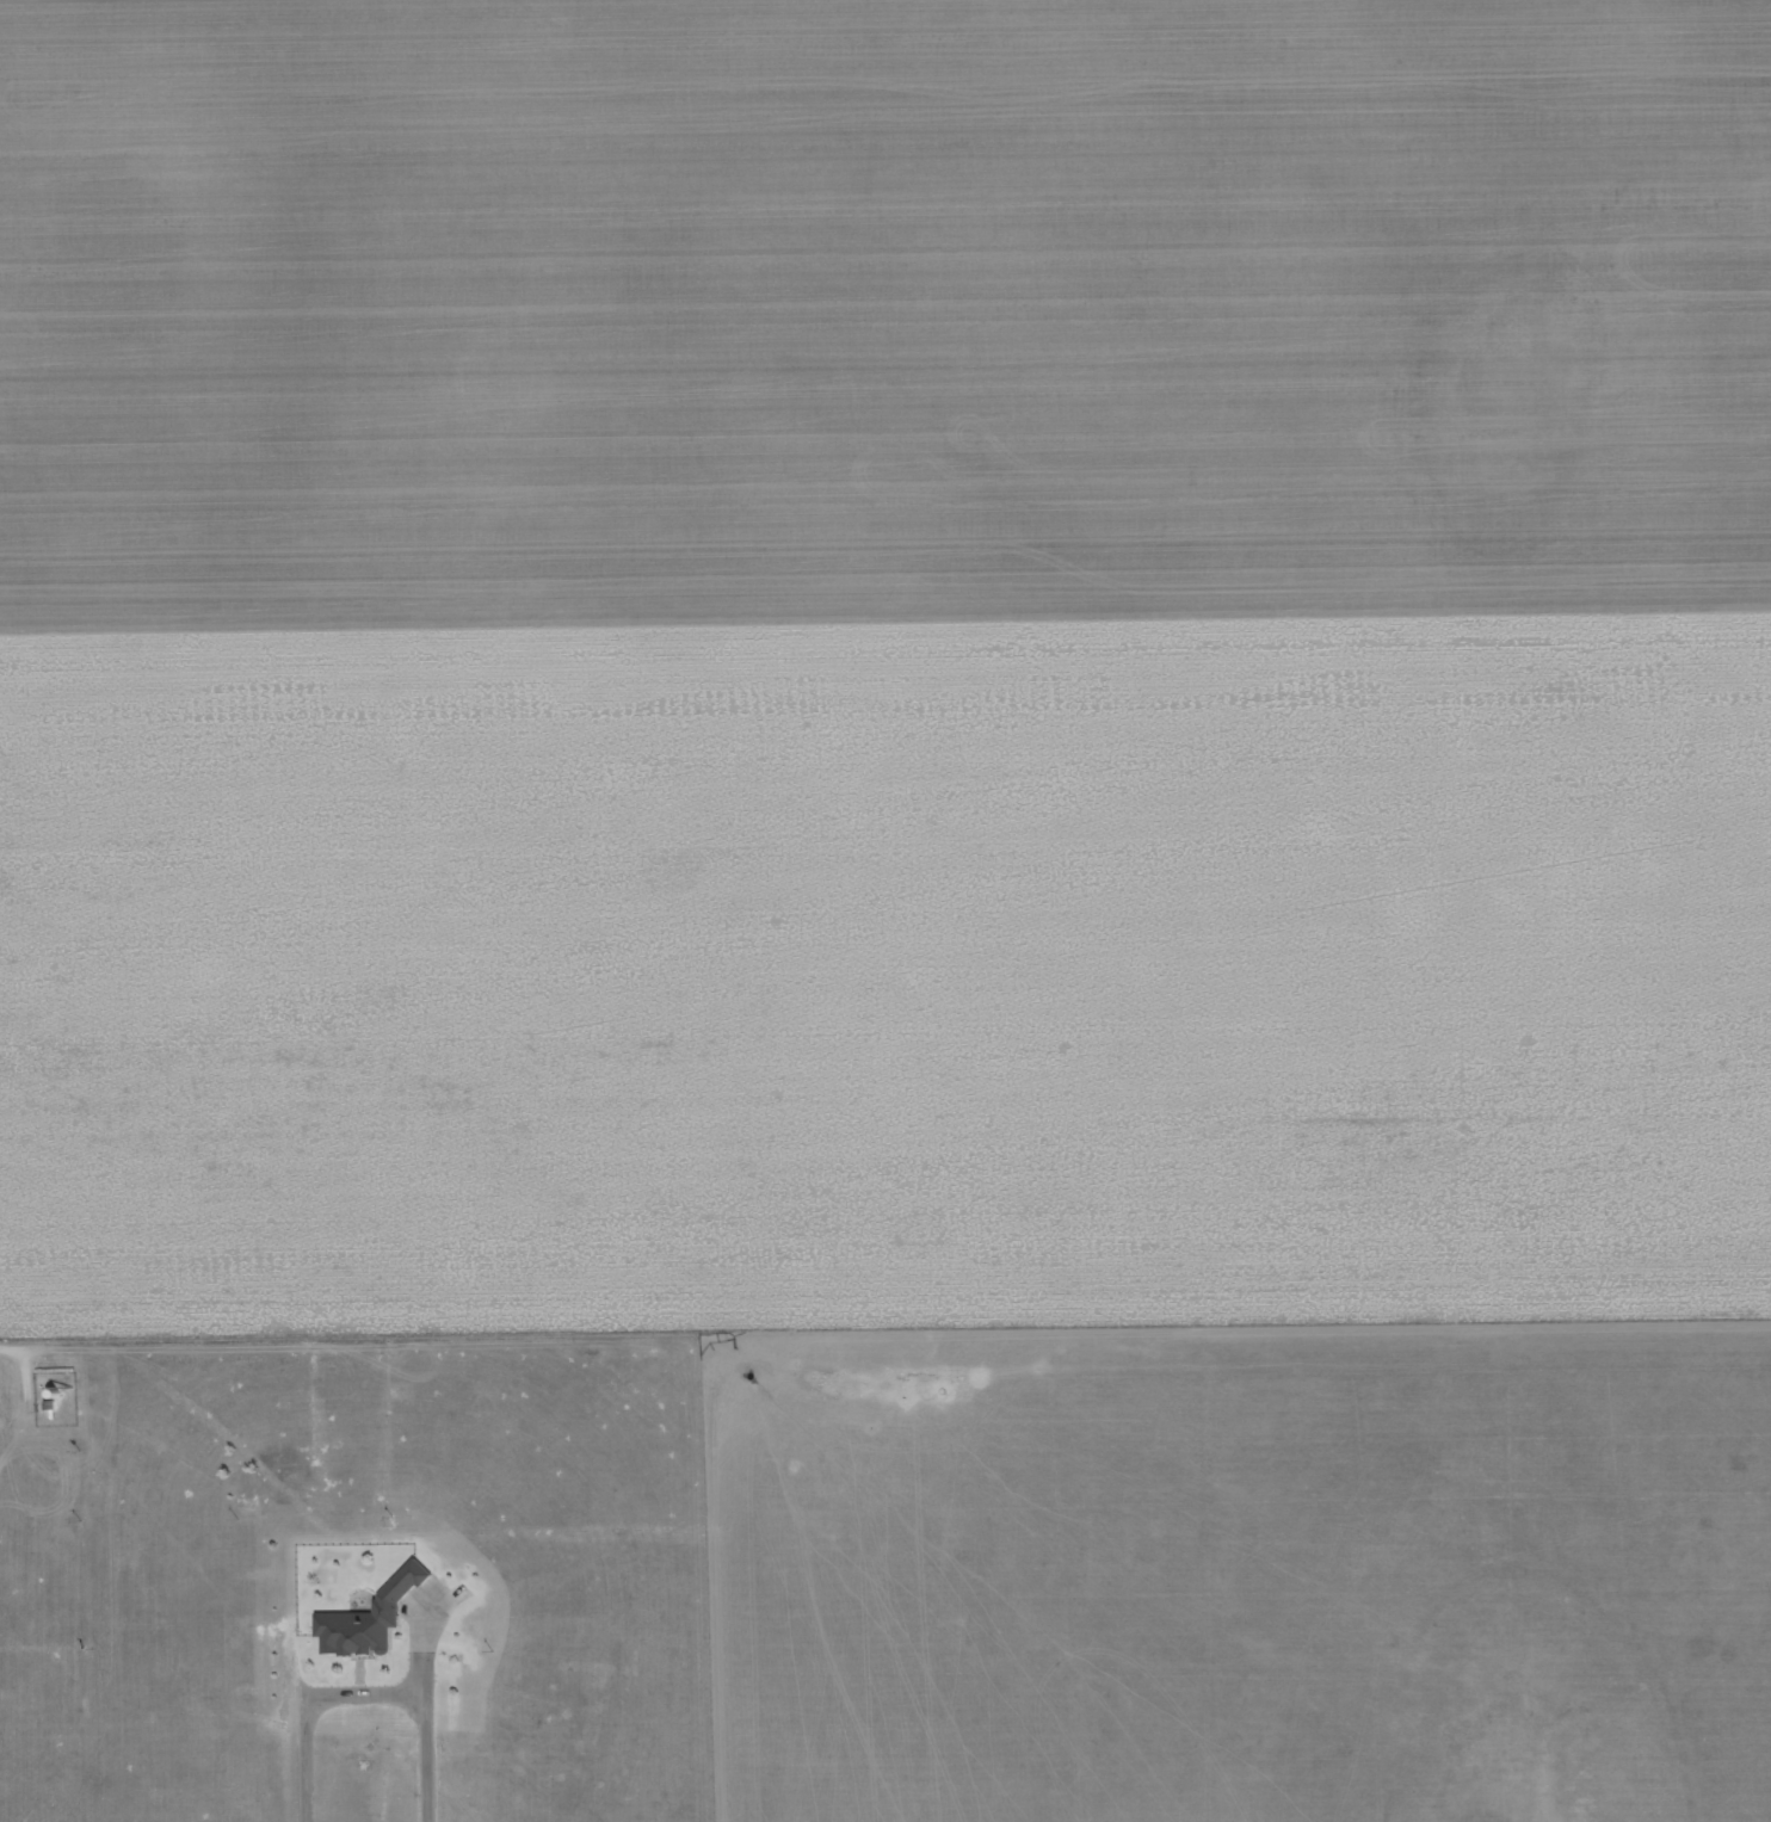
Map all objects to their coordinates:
building: (363, 1630)

